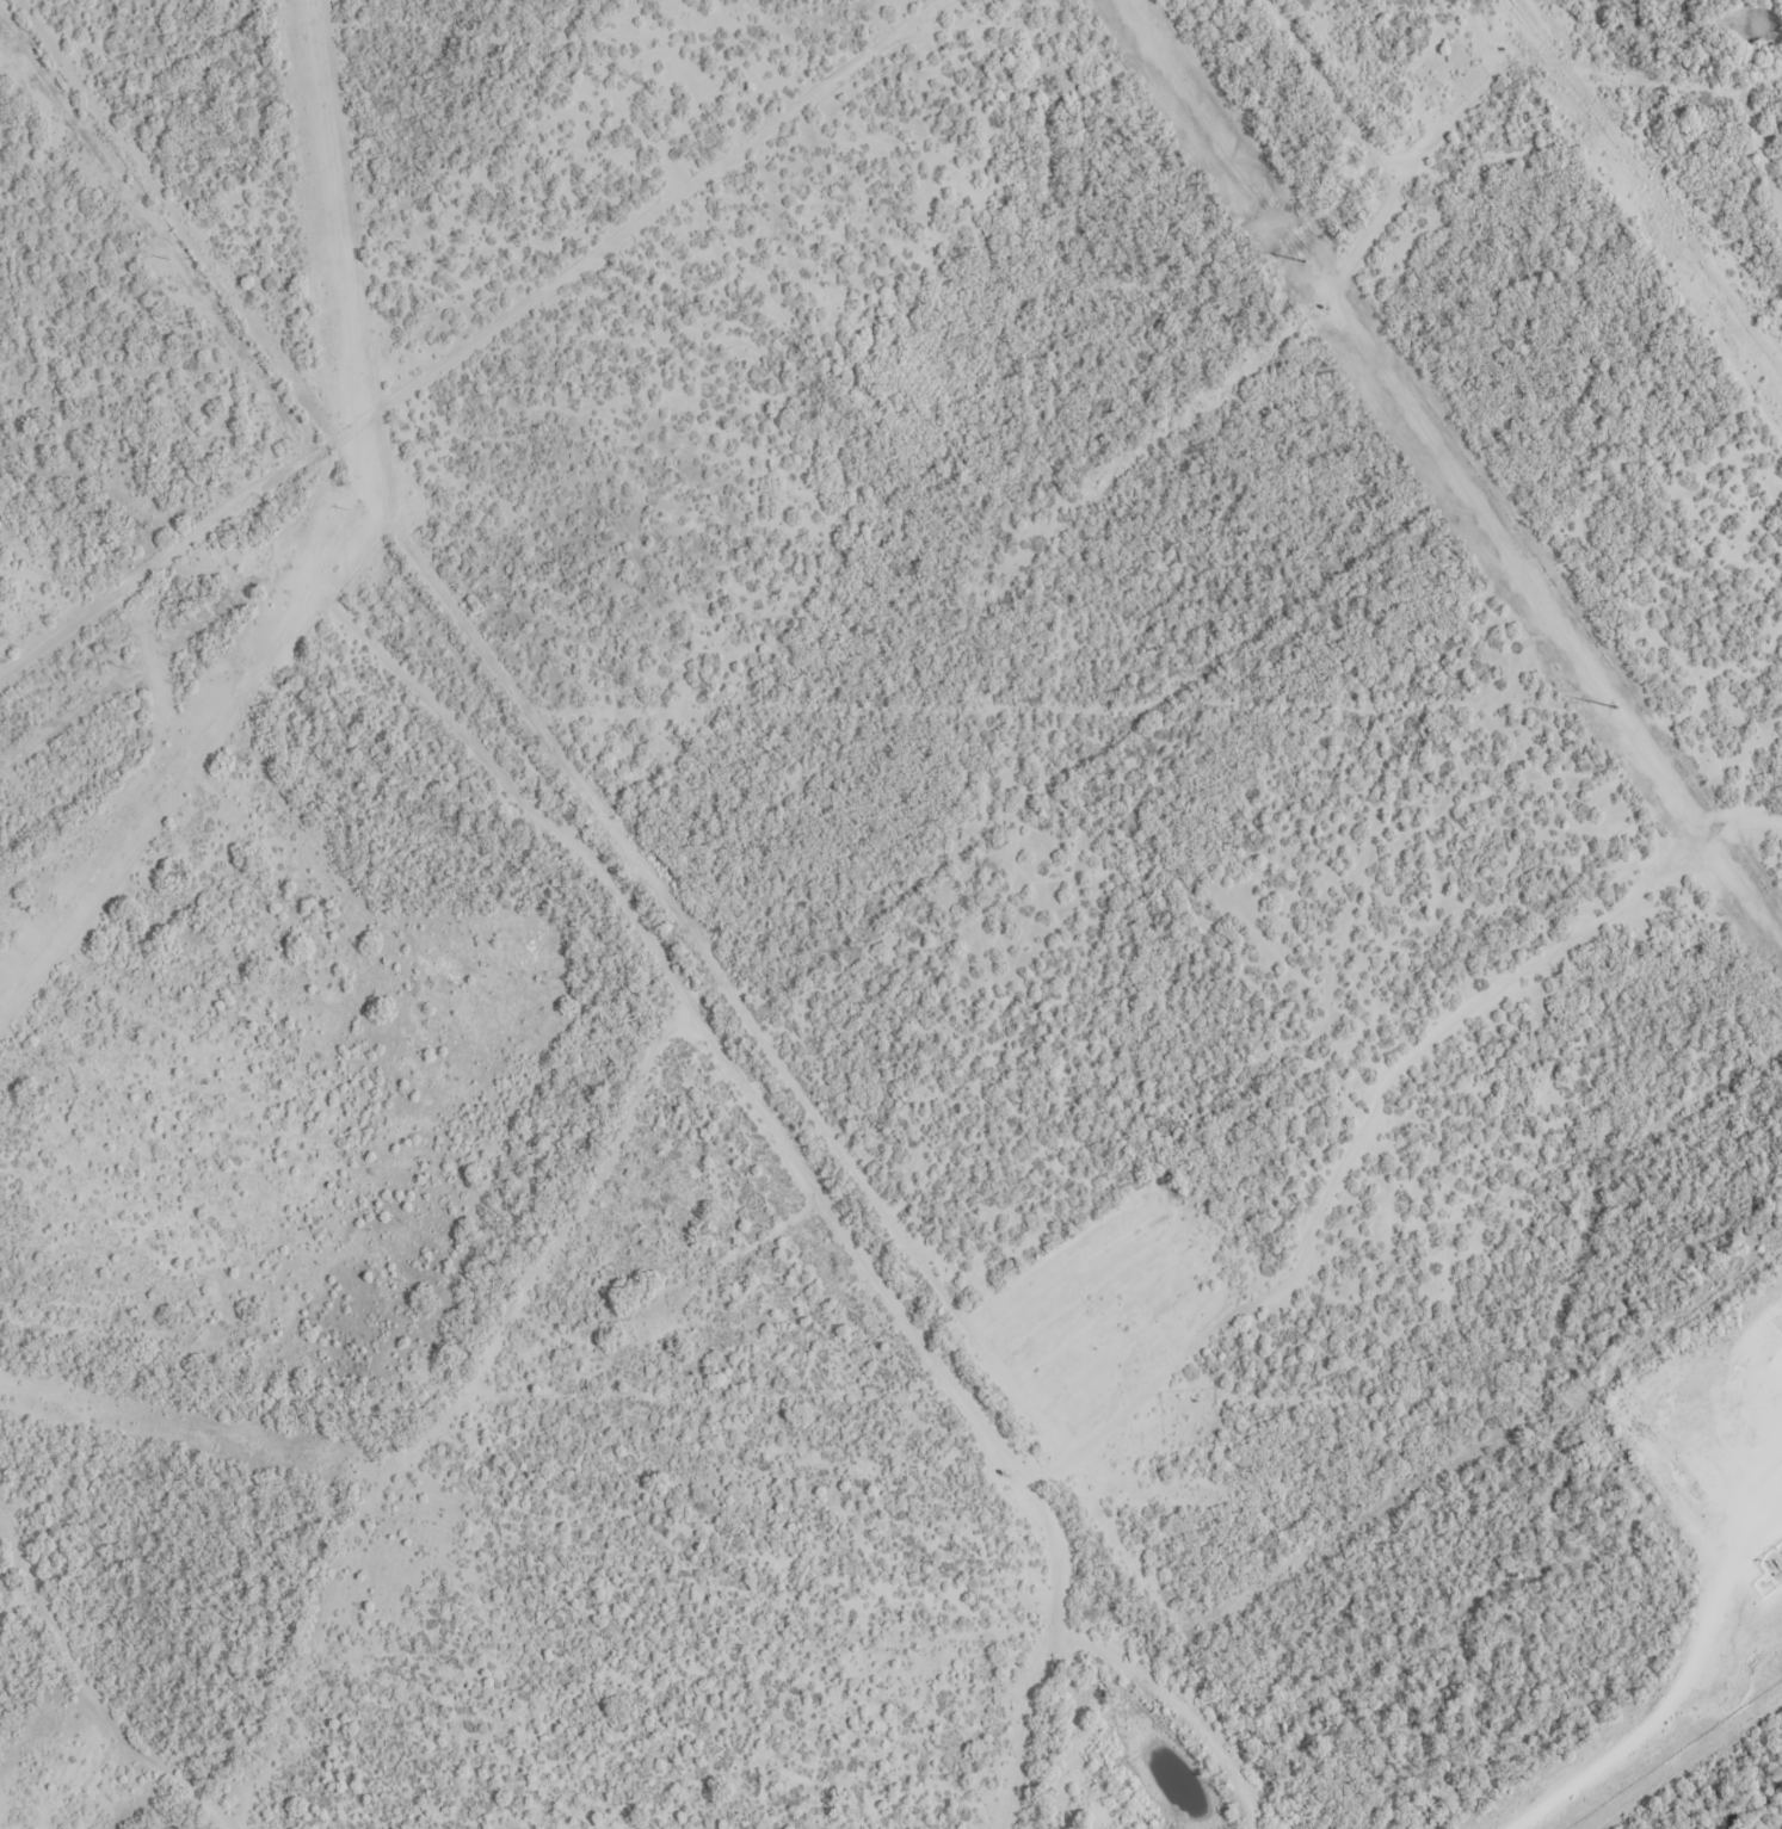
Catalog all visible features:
road: (1560, 167)
power tower: (1305, 261)
road: (288, 394)
road: (1419, 472)
power tower: (1616, 707)

